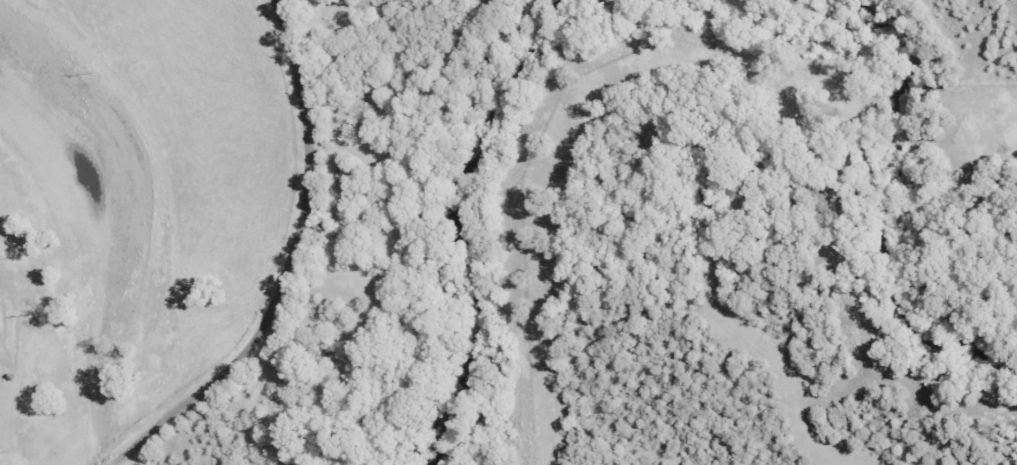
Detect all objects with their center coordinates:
road: (293, 266)
road: (6, 461)

